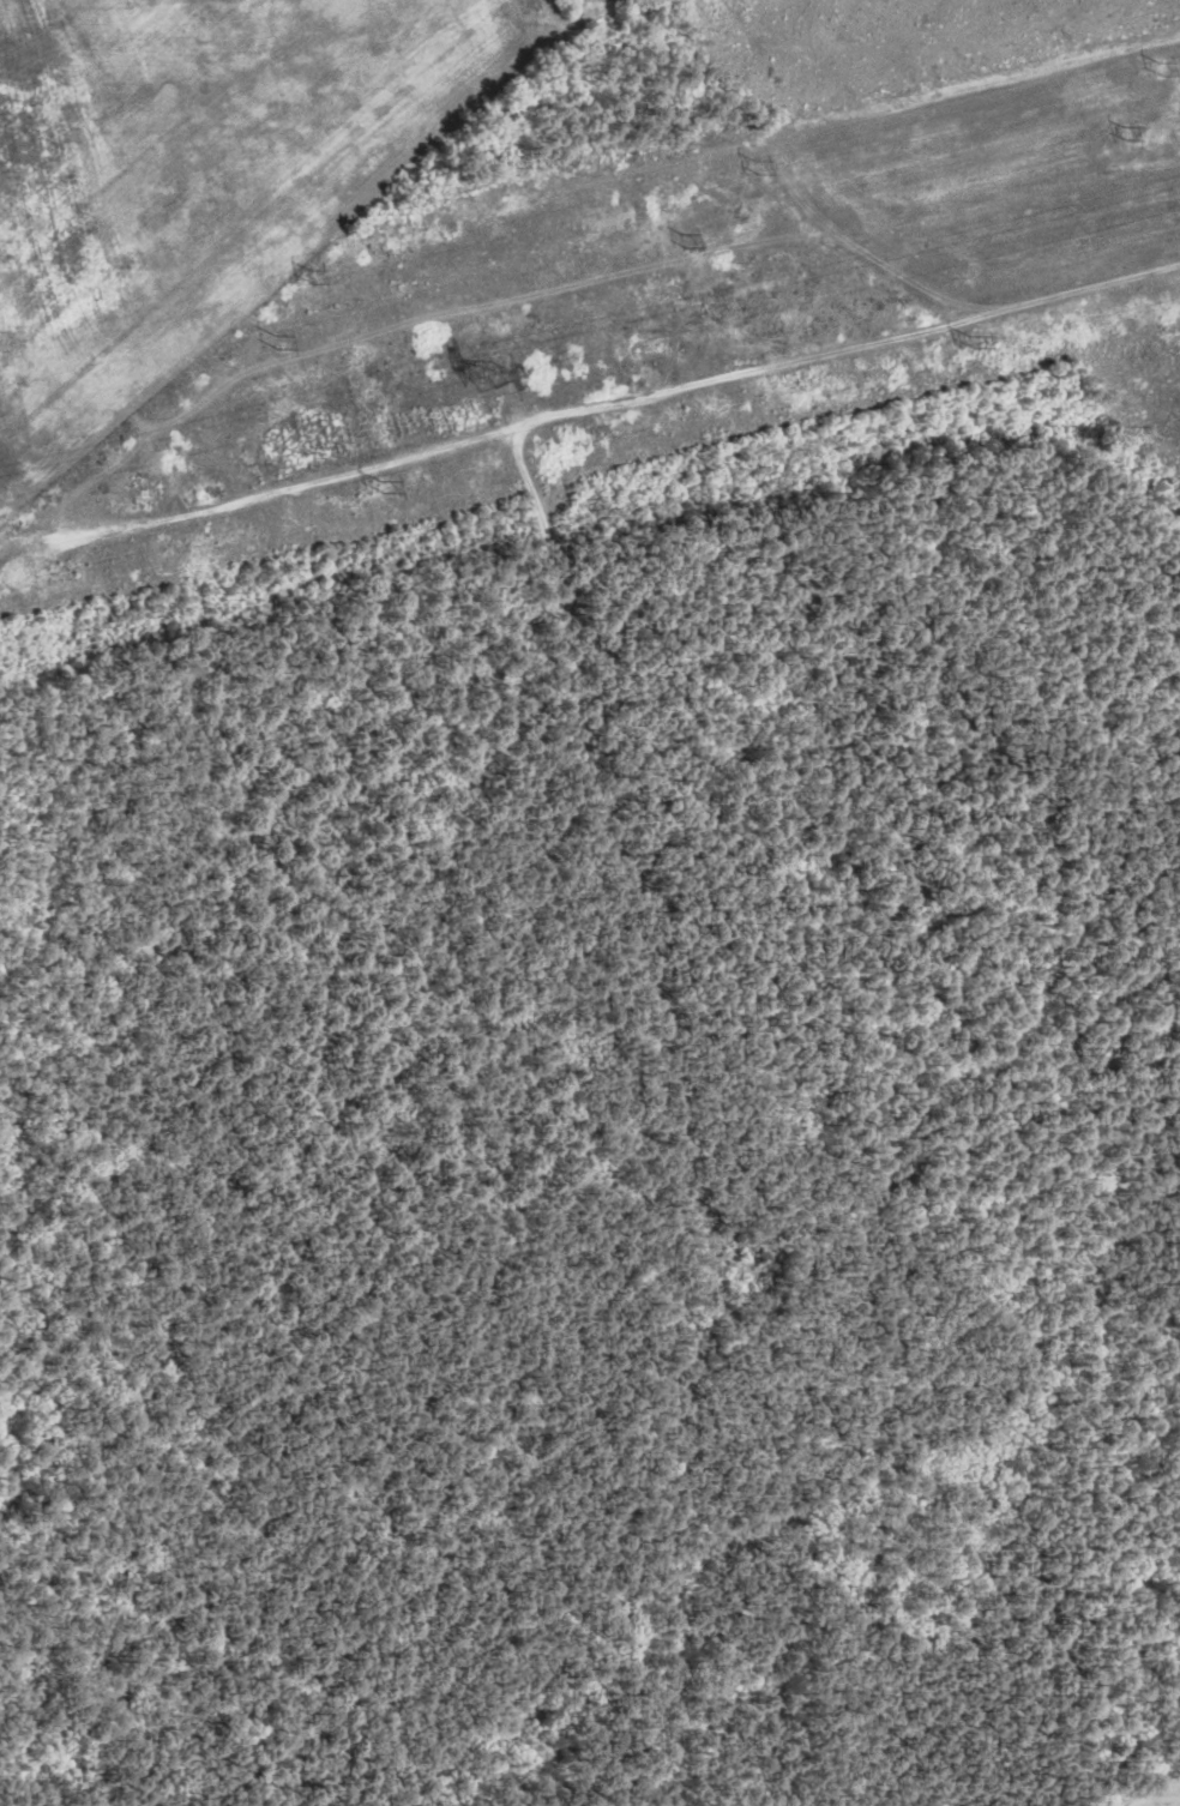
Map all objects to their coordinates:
power tower: (1166, 72)
power tower: (1127, 133)
power tower: (759, 170)
power tower: (687, 241)
power tower: (313, 278)
power tower: (975, 339)
power tower: (277, 342)
power tower: (490, 371)
power tower: (387, 482)

